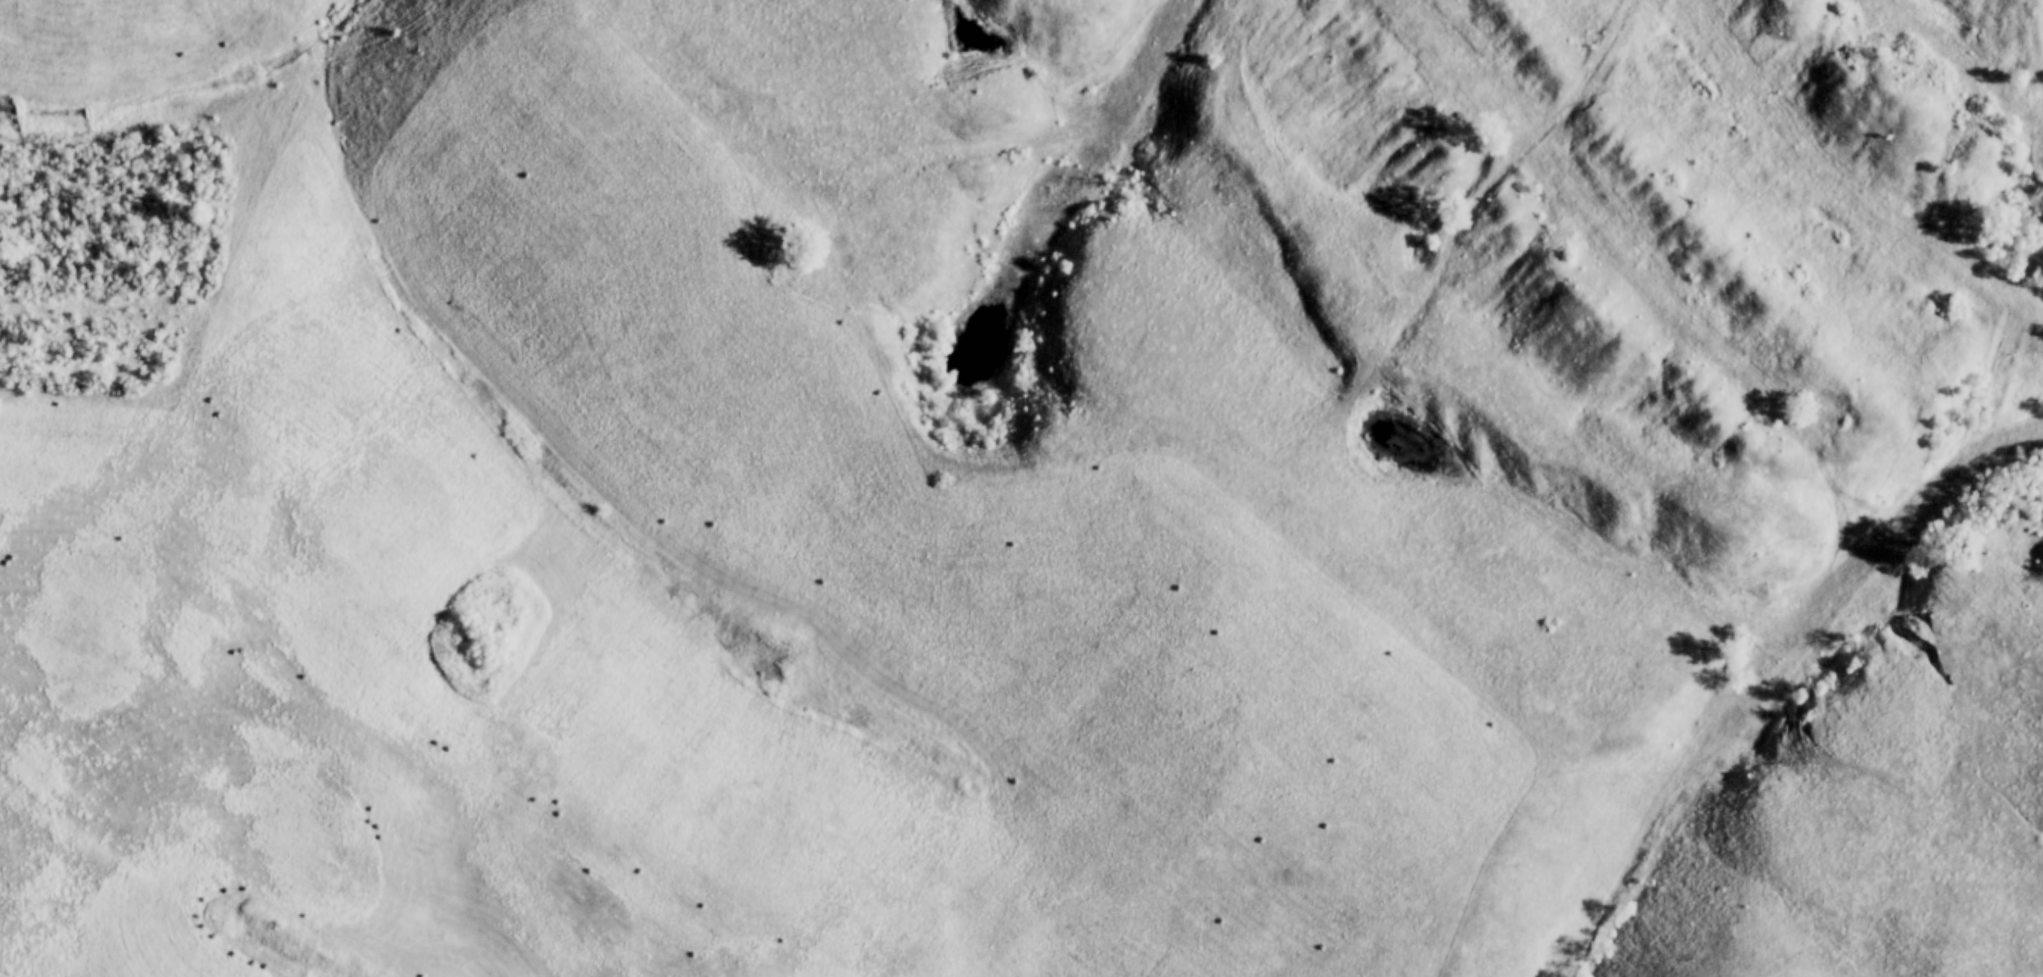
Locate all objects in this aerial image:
road: (363, 16)
road: (1119, 131)
quarry: (1516, 369)
road: (1789, 658)
road: (1767, 673)

